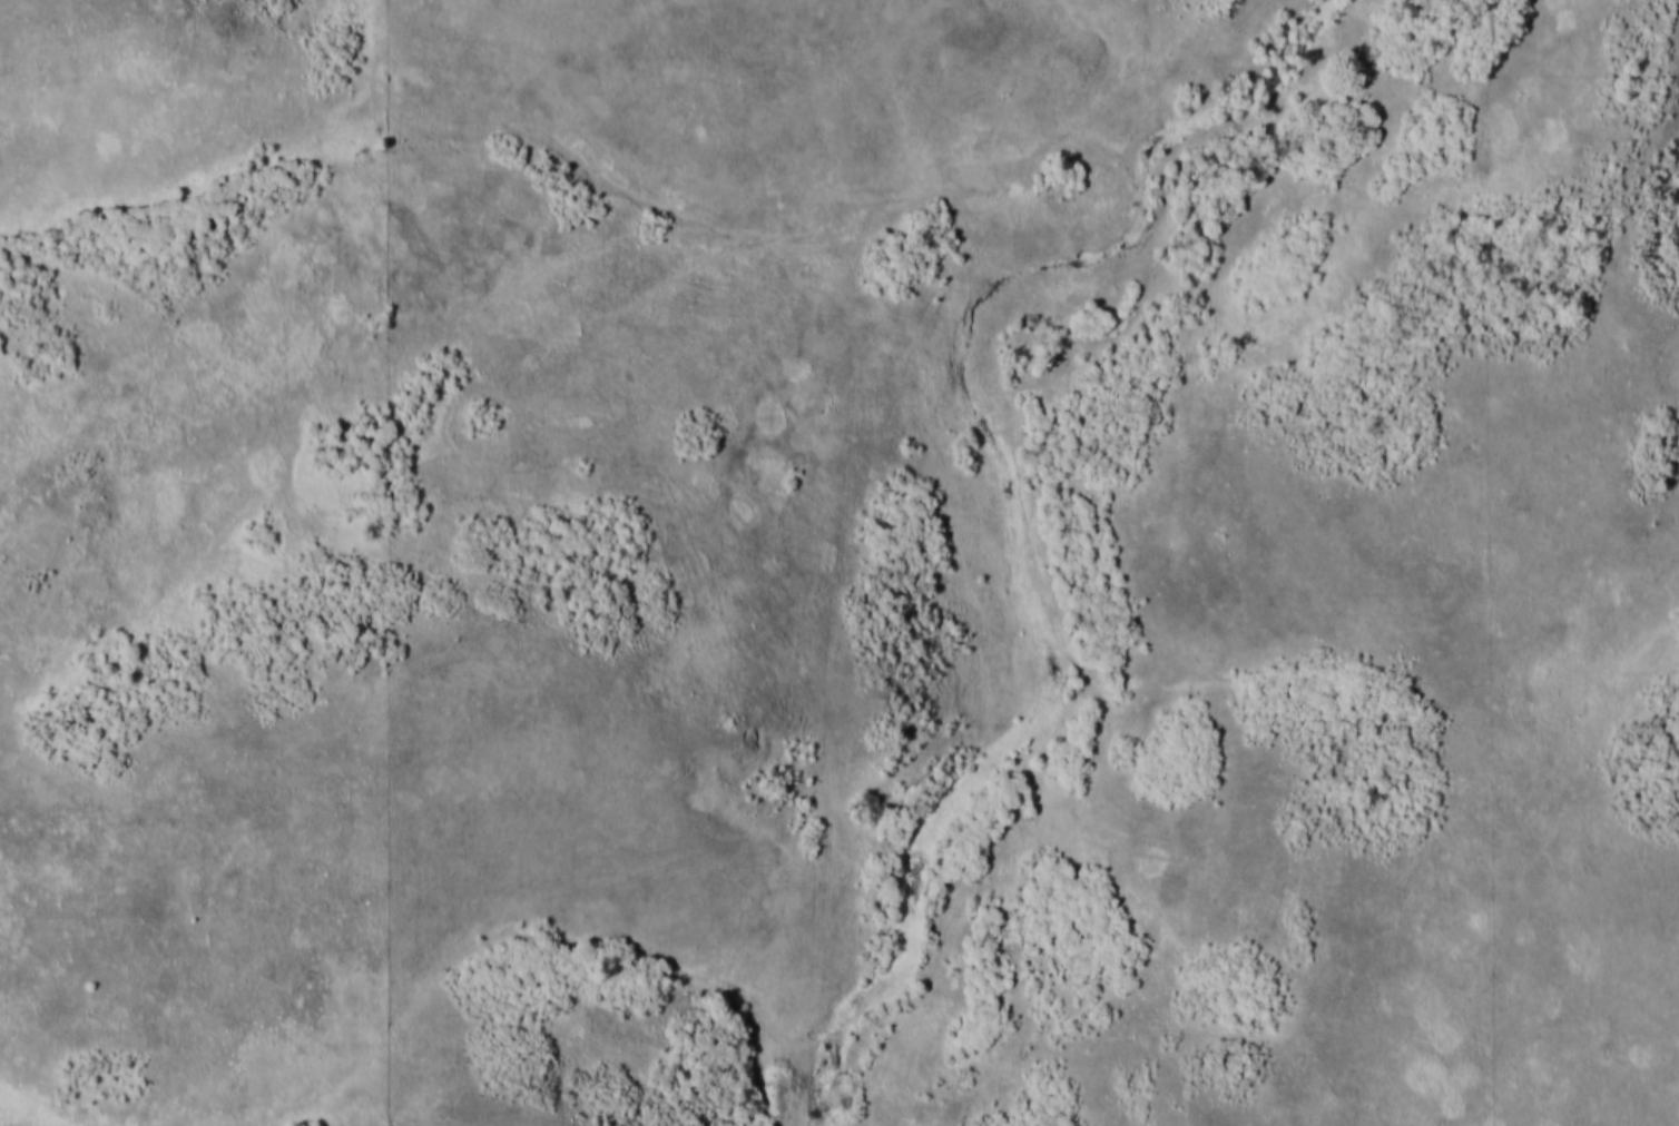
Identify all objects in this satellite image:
road: (848, 553)

